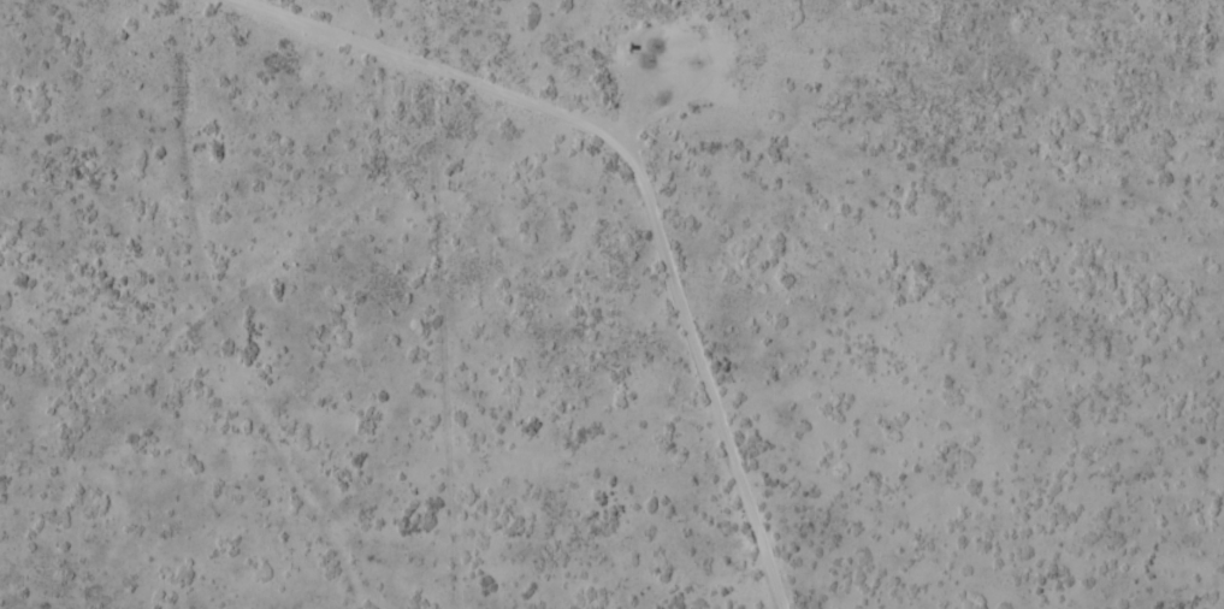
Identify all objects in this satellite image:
road: (635, 190)

